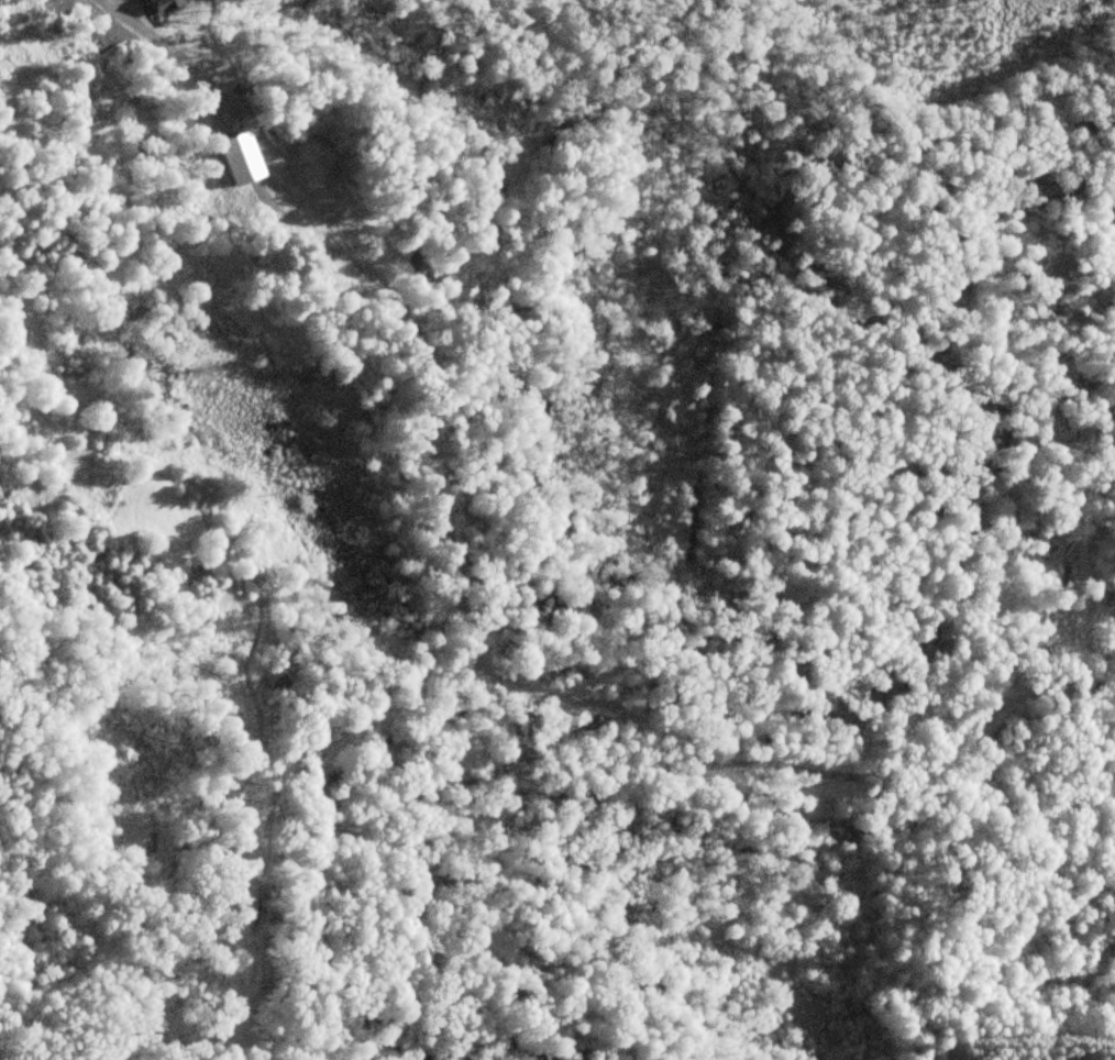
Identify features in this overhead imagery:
road: (95, 3)

